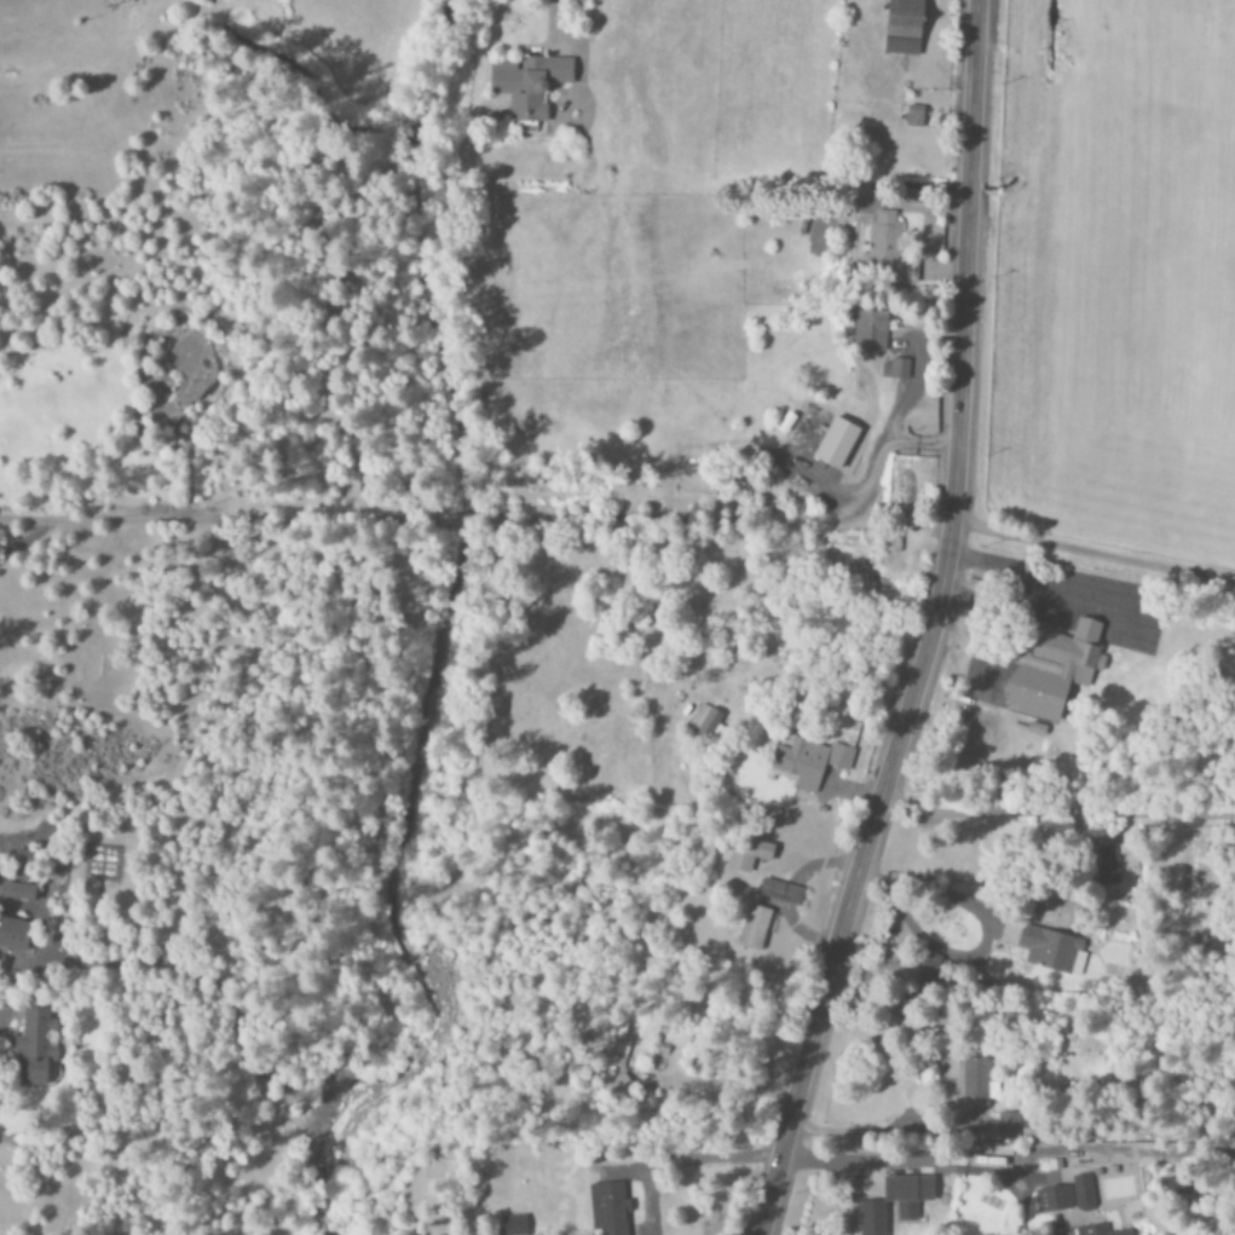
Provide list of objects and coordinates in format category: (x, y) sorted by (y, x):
building: (902, 27)
building: (527, 83)
building: (912, 119)
building: (885, 249)
building: (868, 330)
building: (894, 369)
building: (835, 444)
road: (1092, 554)
road: (933, 627)
building: (1051, 670)
building: (706, 725)
building: (808, 762)
road: (1056, 809)
building: (746, 855)
building: (22, 865)
building: (1106, 866)
building: (17, 893)
building: (783, 893)
building: (752, 929)
building: (13, 935)
building: (1050, 951)
building: (34, 1049)
building: (617, 1049)
building: (975, 1080)
building: (1008, 1126)
building: (1083, 1194)
building: (907, 1195)
building: (1052, 1200)
building: (607, 1208)
building: (871, 1219)
building: (513, 1225)
building: (1092, 1230)

